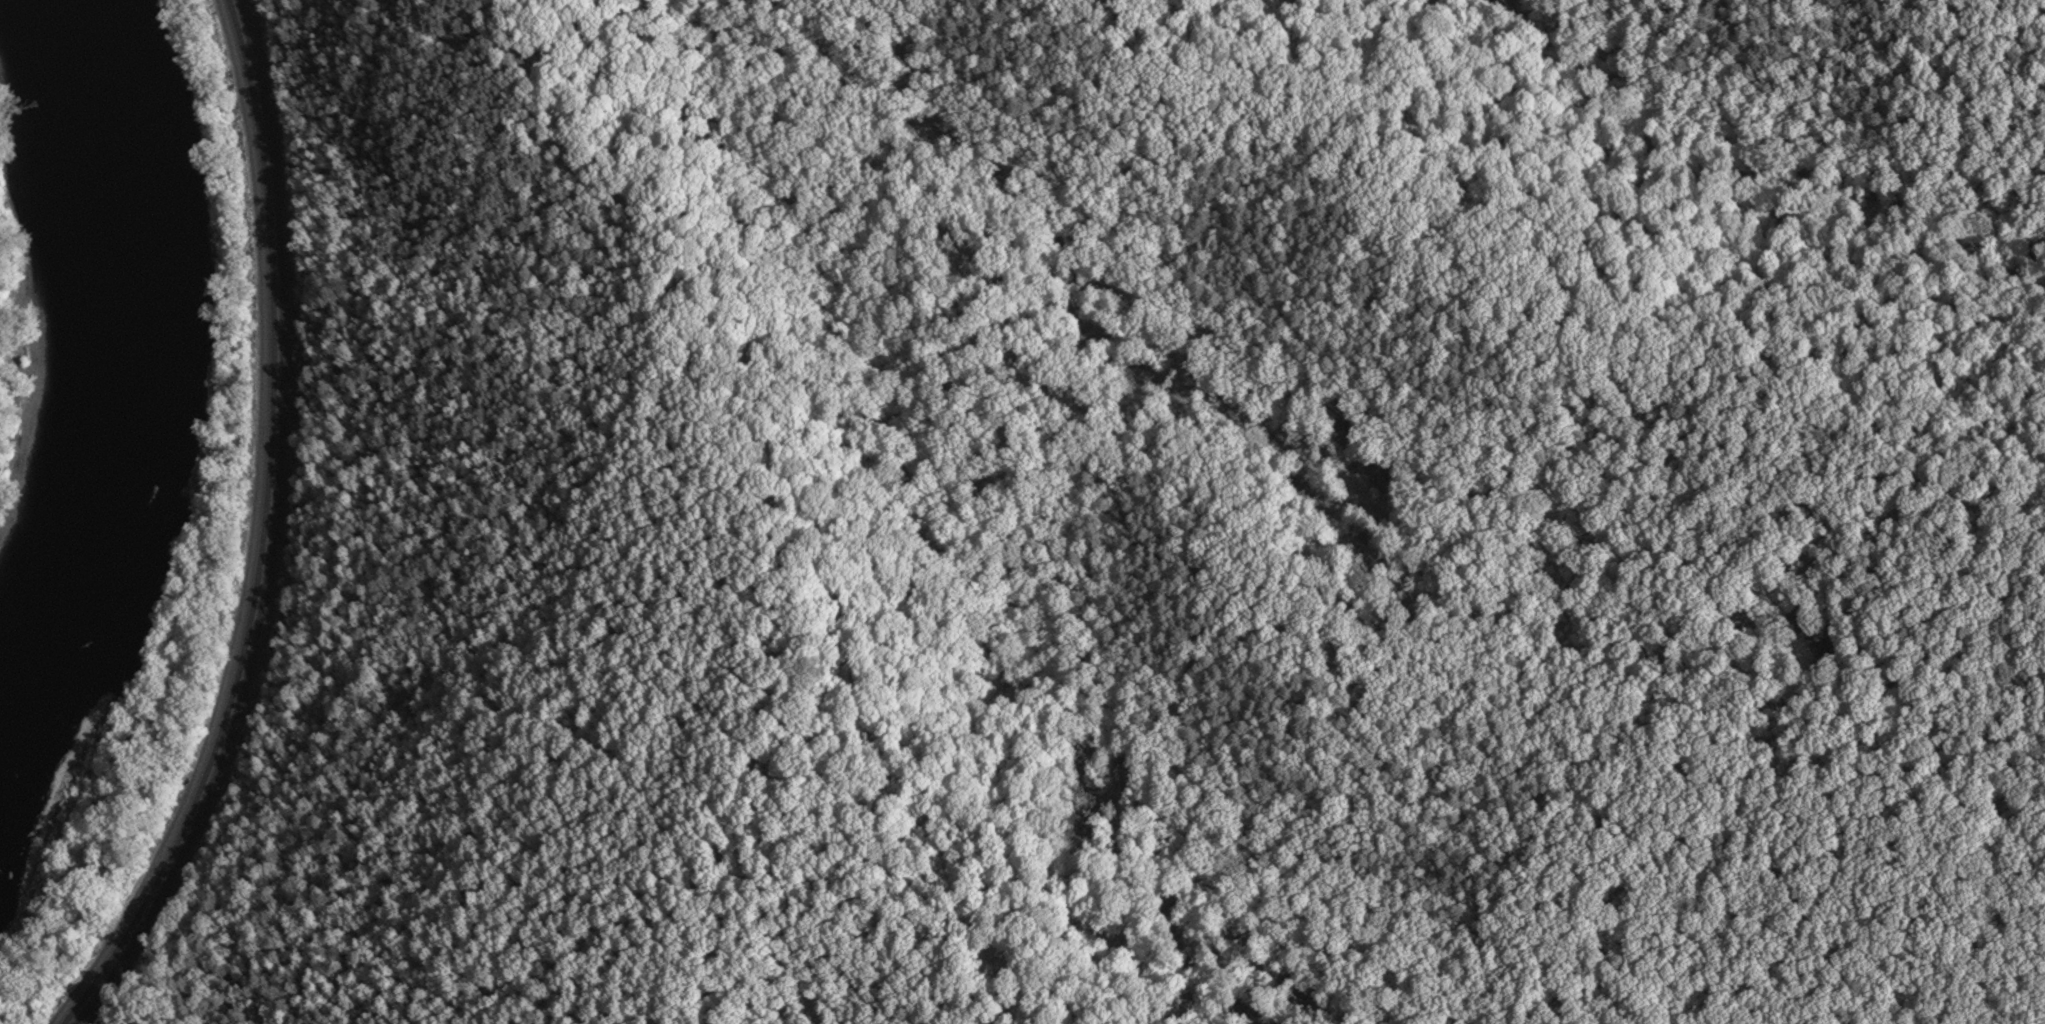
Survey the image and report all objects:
river: (115, 394)
railway: (264, 532)
railway: (273, 532)
road: (249, 533)

